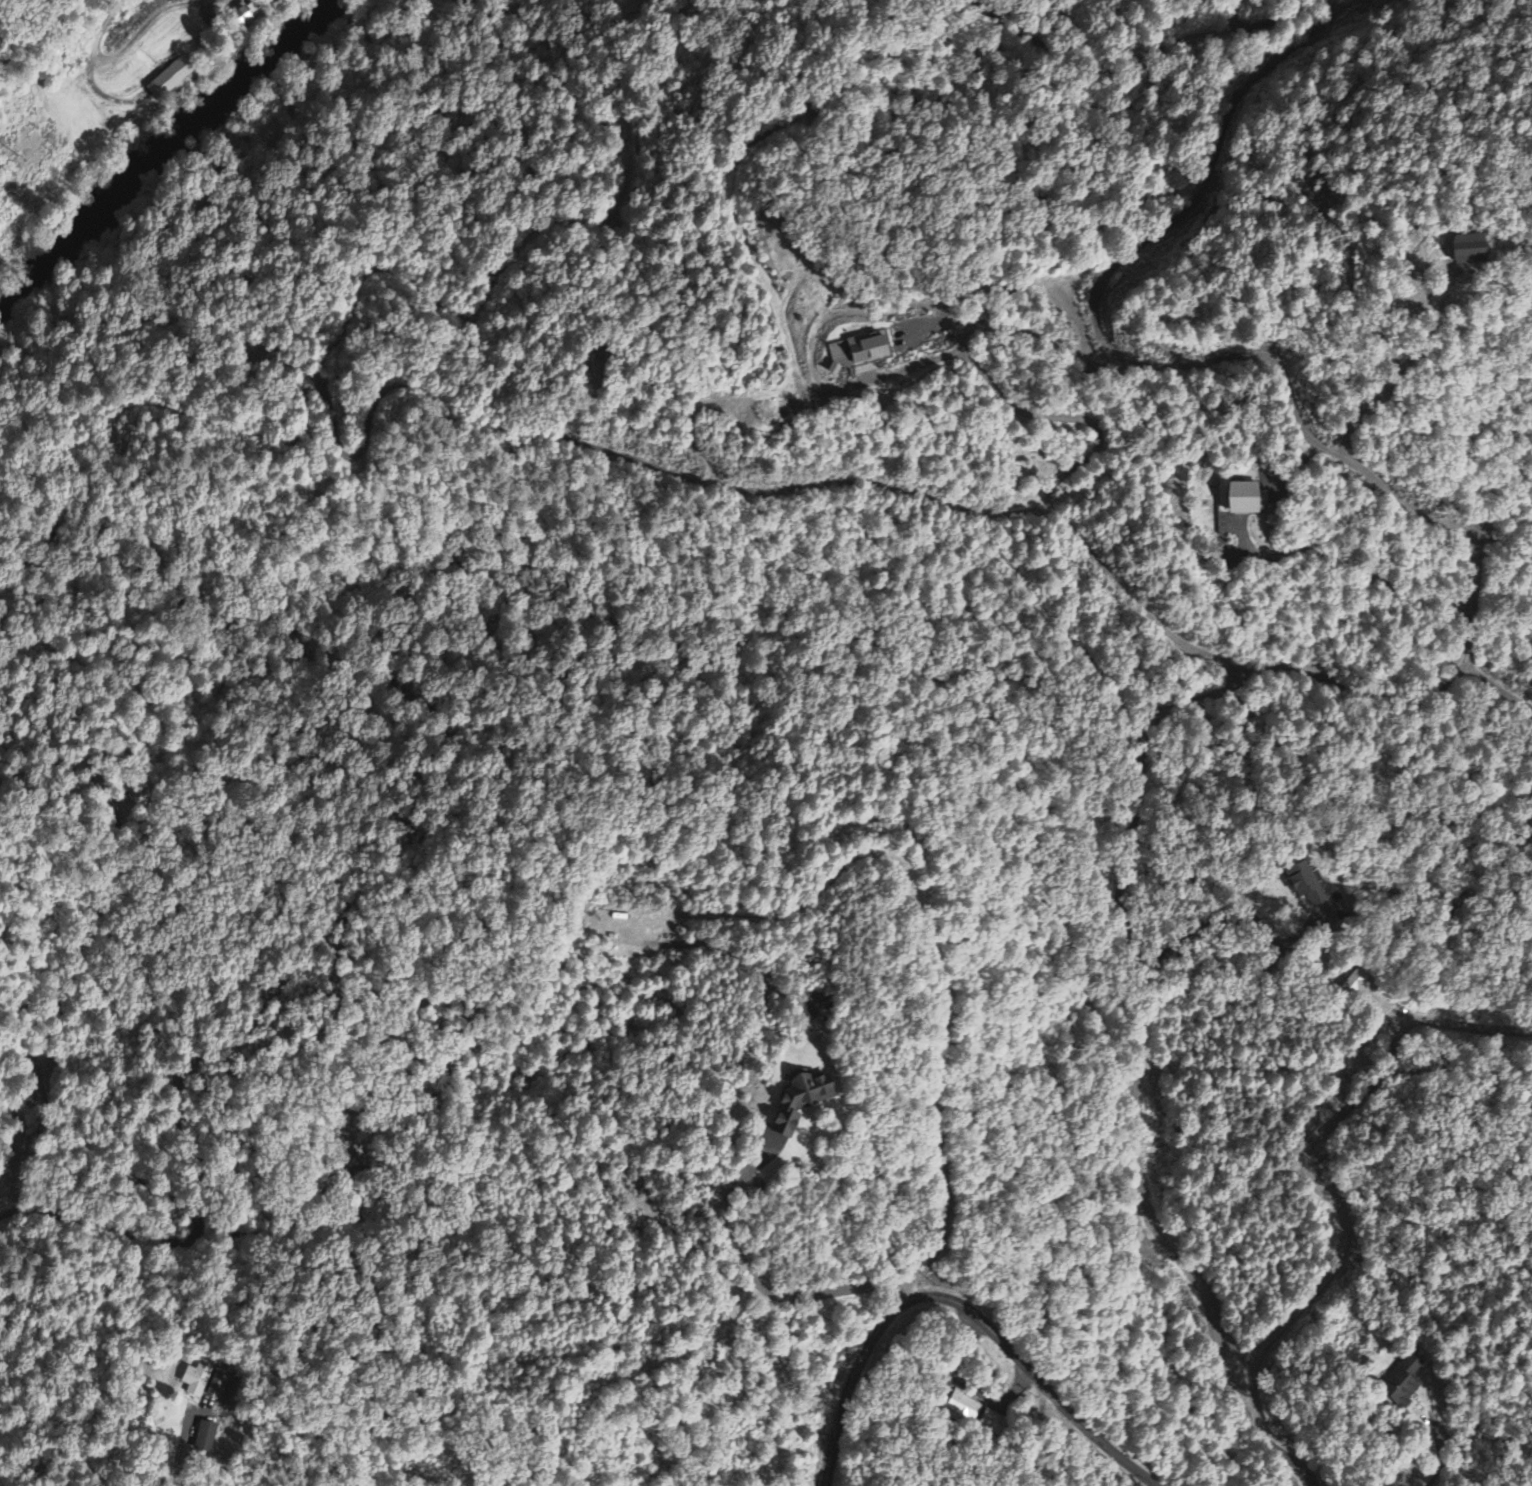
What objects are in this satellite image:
building: (240, 14)
road: (126, 44)
building: (168, 79)
power tower: (20, 151)
river: (172, 156)
building: (1466, 248)
building: (854, 351)
building: (1242, 498)
building: (1303, 884)
building: (798, 1103)
road: (1132, 1106)
road: (1307, 1153)
road: (28, 1158)
road: (940, 1300)
building: (203, 1383)
building: (1403, 1383)
road: (851, 1392)
building: (964, 1405)
building: (992, 1423)
building: (204, 1436)
road: (177, 1475)
road: (3, 1477)

